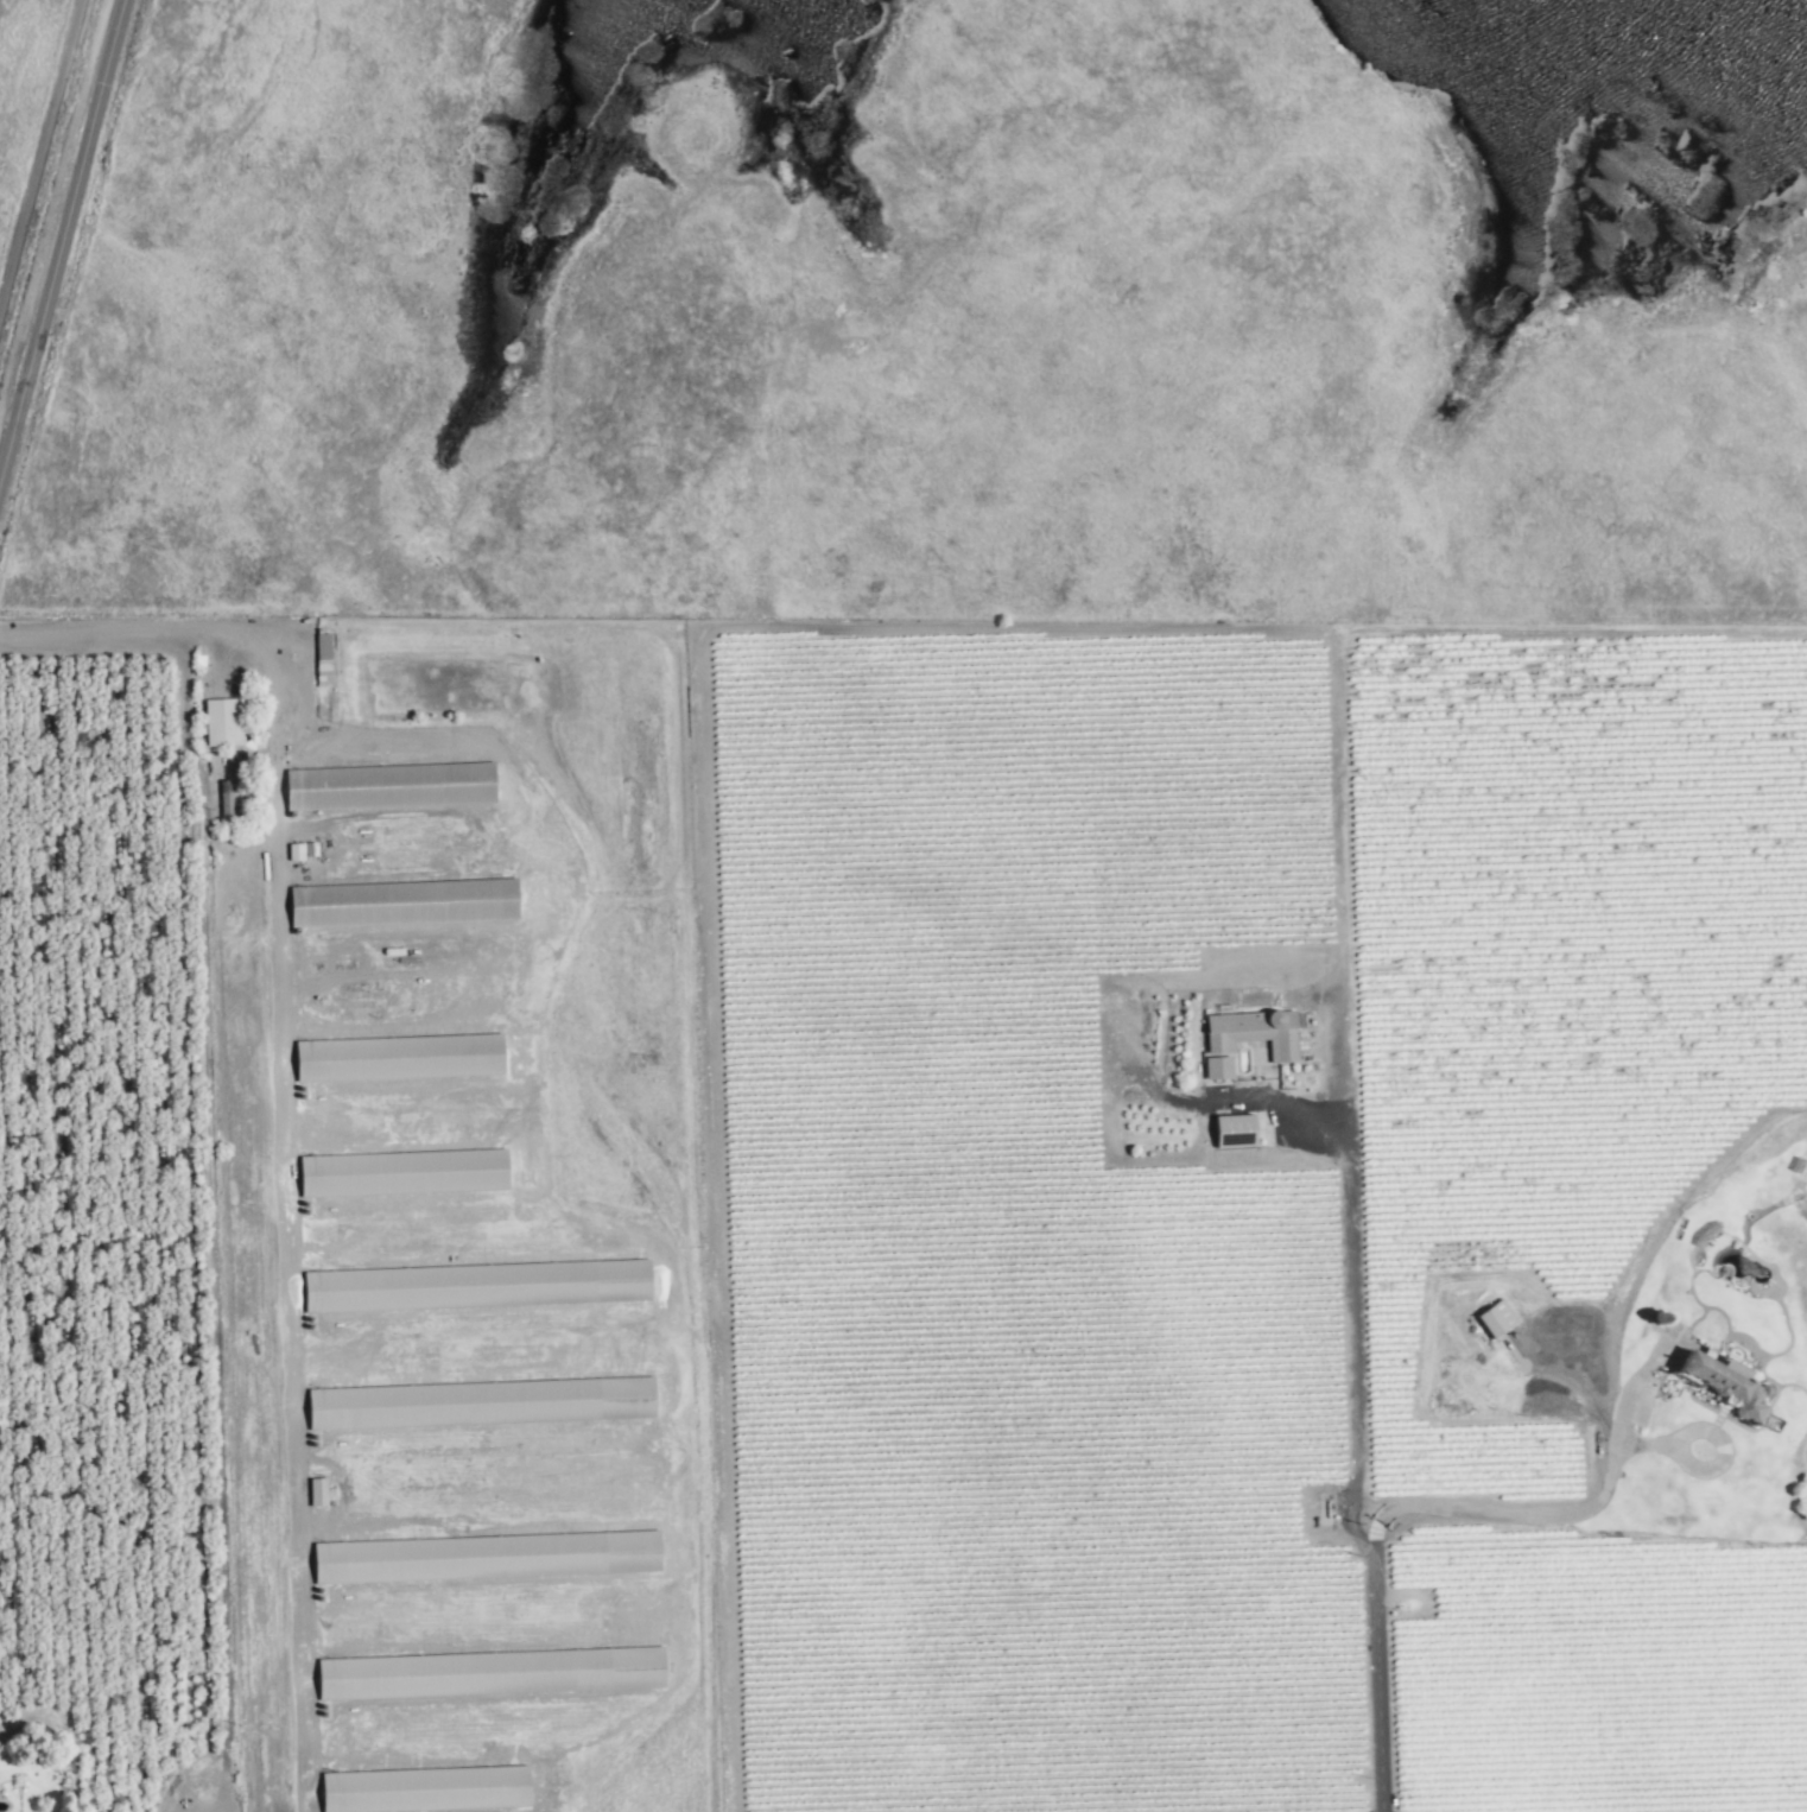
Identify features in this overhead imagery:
road: (62, 233)
building: (224, 722)
building: (388, 786)
building: (402, 902)
building: (400, 1057)
road: (275, 1096)
road: (1275, 1103)
building: (406, 1173)
road: (1349, 1200)
crop: (1220, 1211)
crop: (100, 1246)
building: (478, 1285)
building: (1494, 1317)
building: (1717, 1382)
building: (482, 1402)
building: (318, 1491)
road: (1548, 1516)
building: (487, 1557)
building: (490, 1673)
building: (425, 1788)

